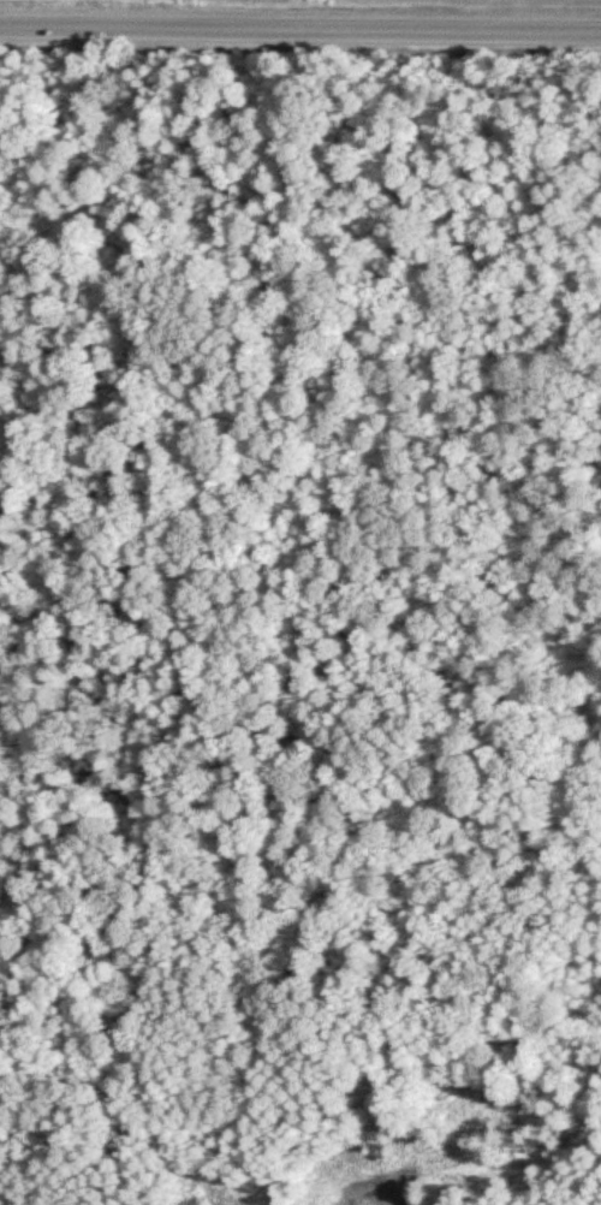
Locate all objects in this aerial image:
road: (300, 29)

